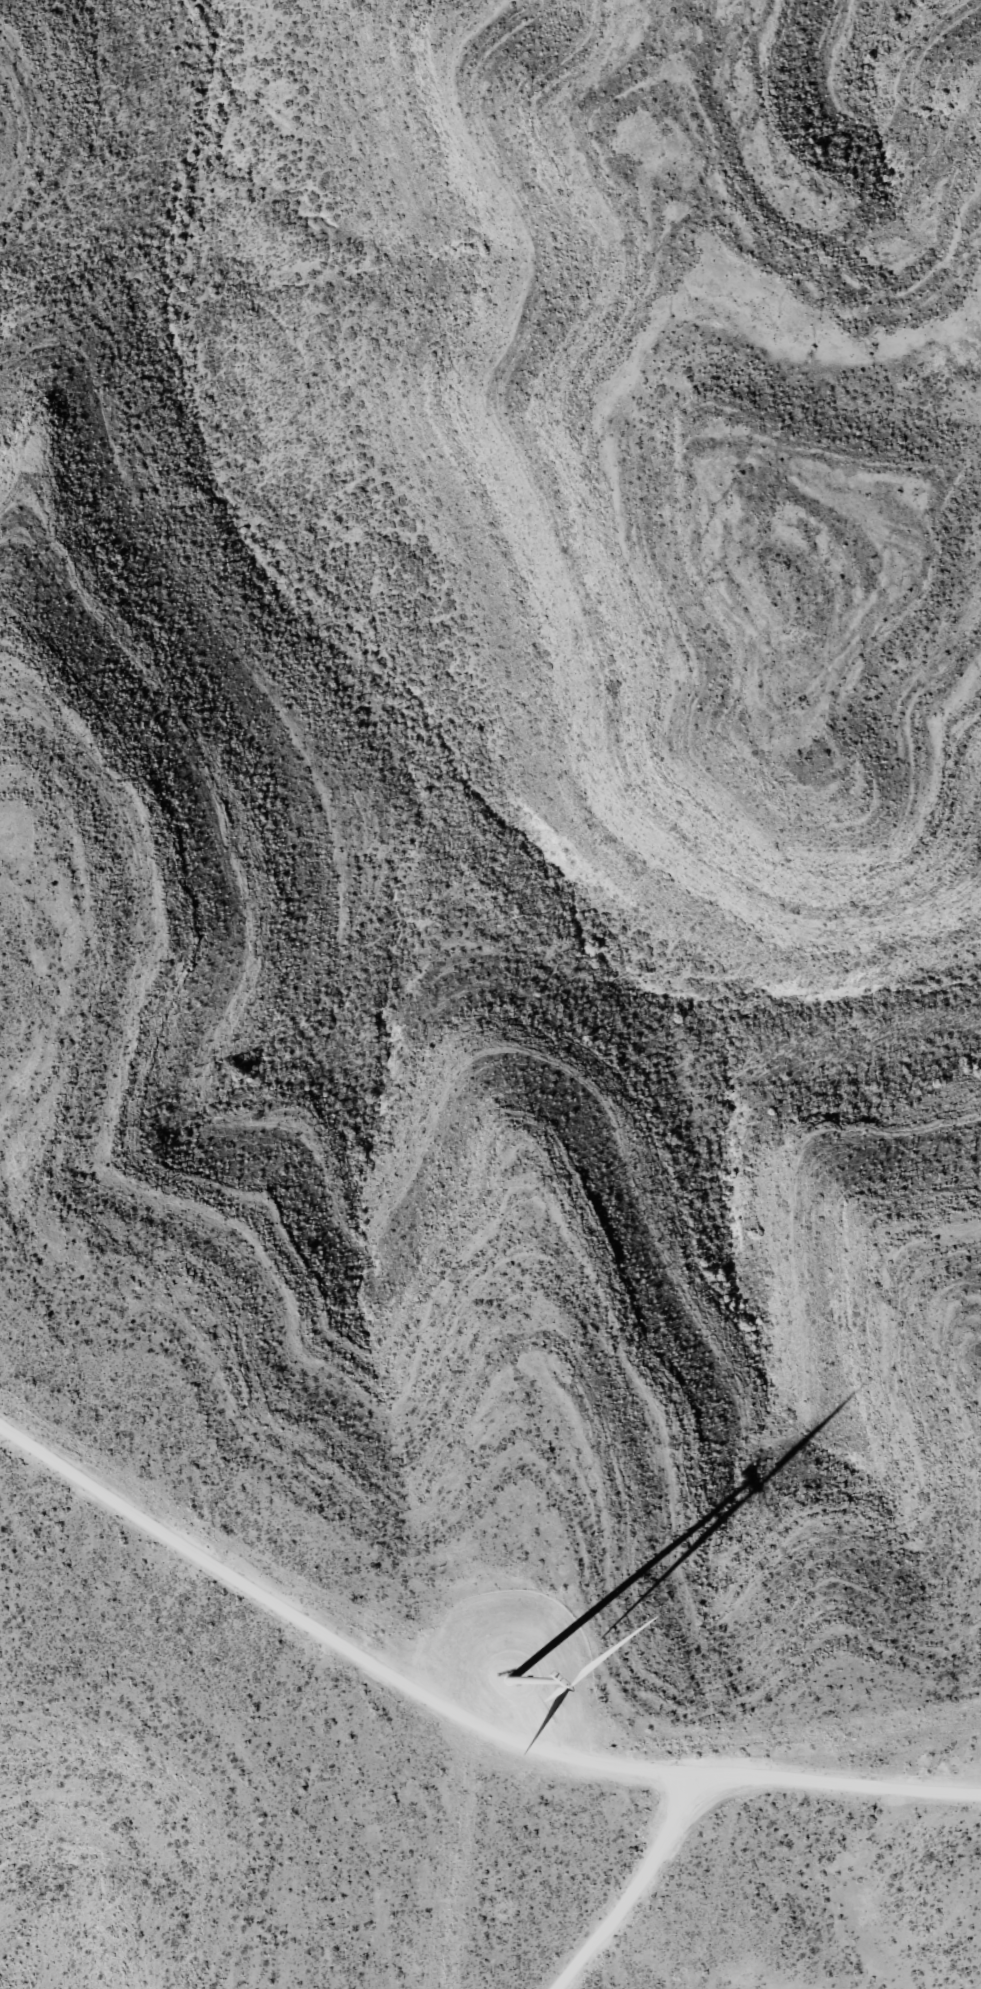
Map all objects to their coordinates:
wind turbine: (509, 1679)
road: (447, 1718)

